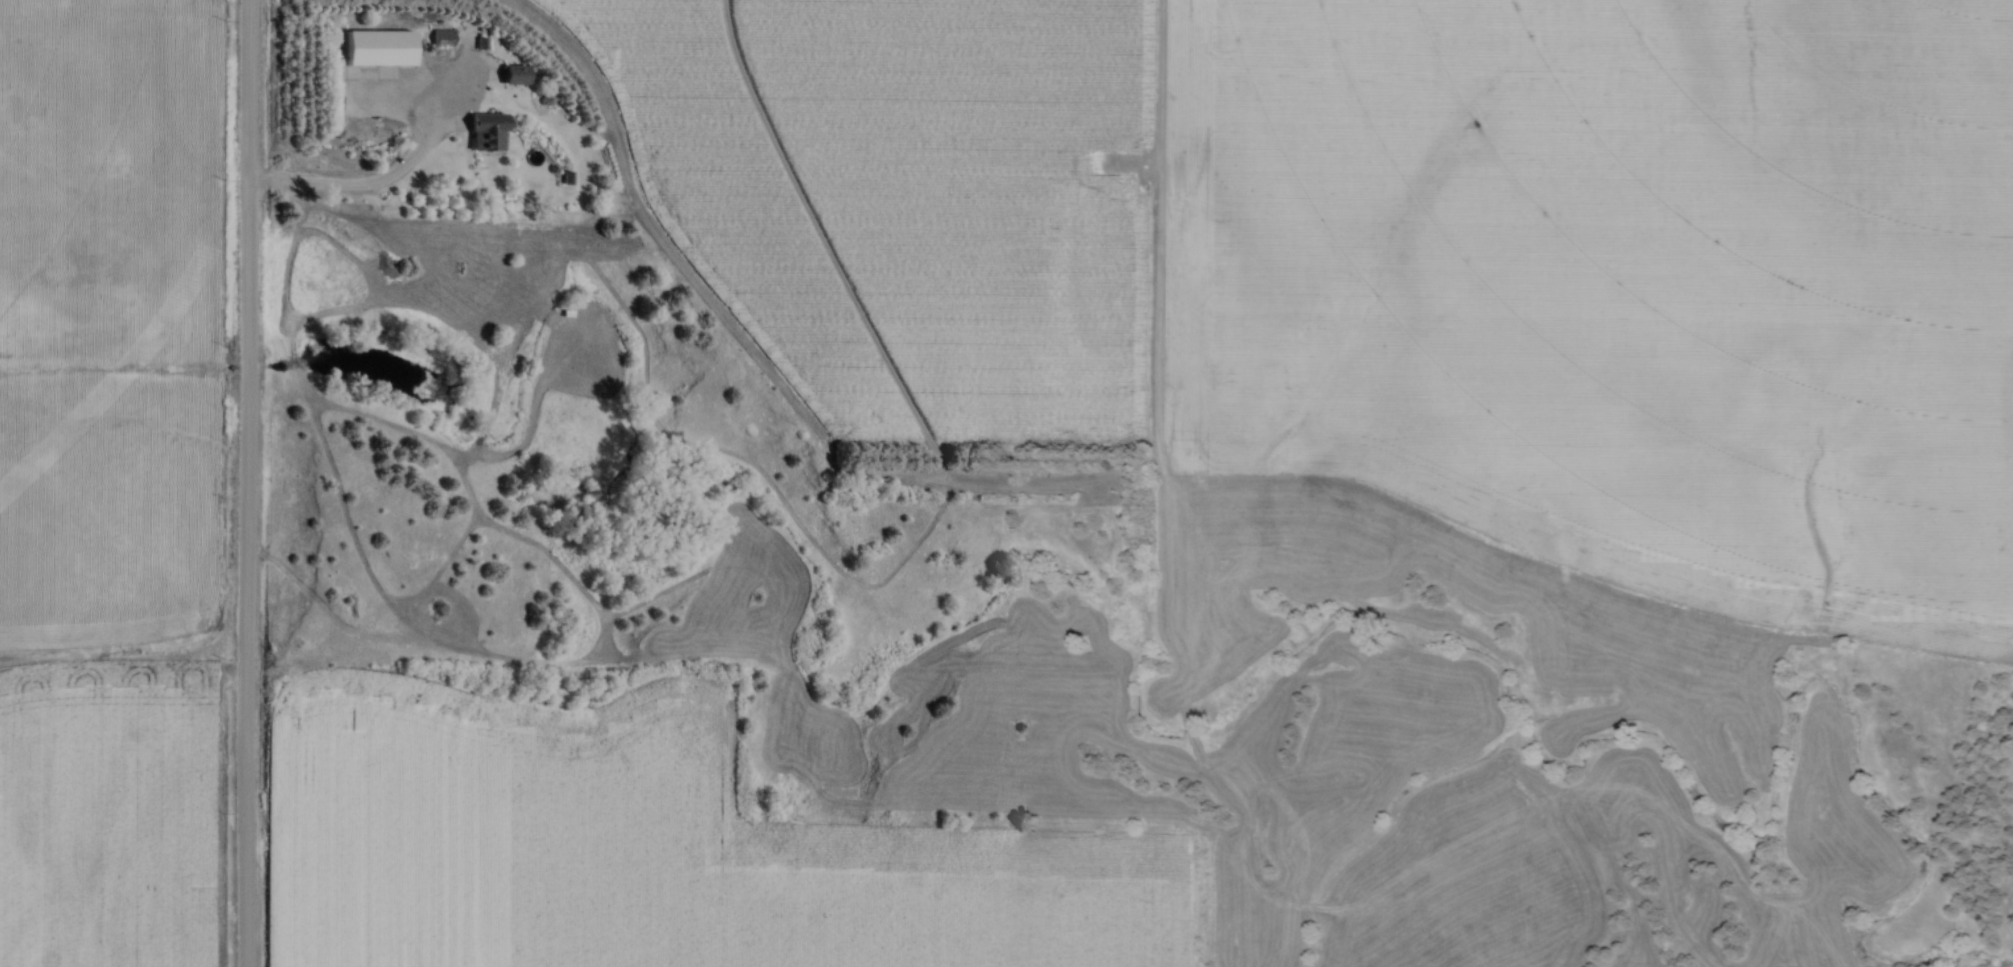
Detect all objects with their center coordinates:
building: (439, 35)
building: (509, 76)
building: (479, 133)
road: (250, 483)

